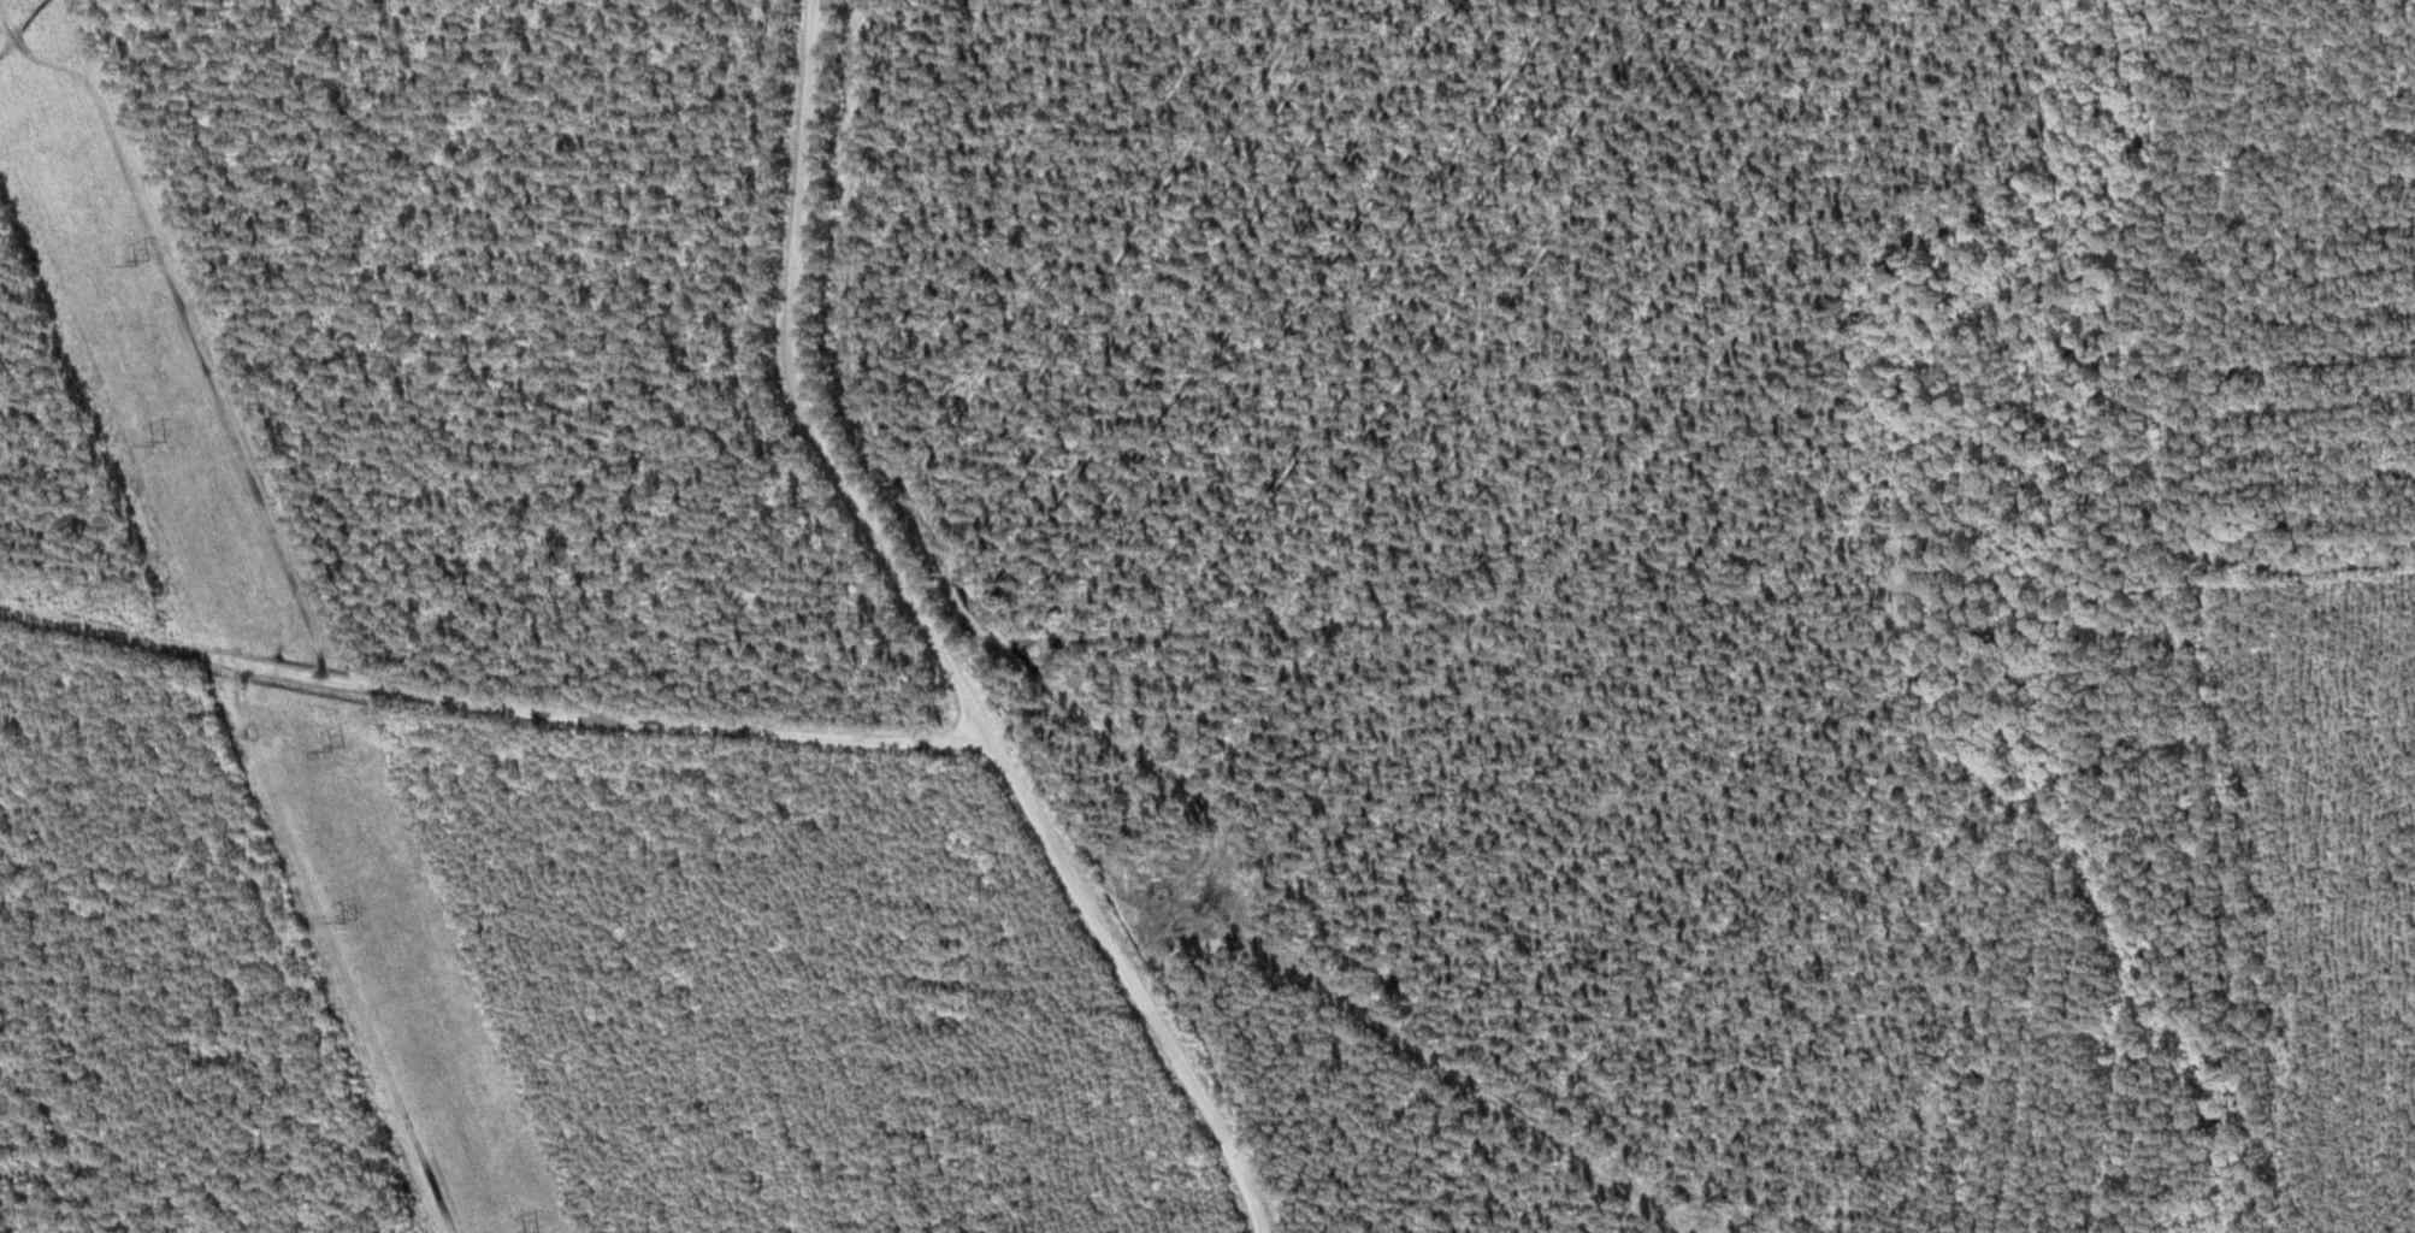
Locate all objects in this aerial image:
power tower: (143, 264)
road: (828, 388)
power tower: (161, 444)
road: (780, 719)
power tower: (338, 747)
power tower: (355, 919)

